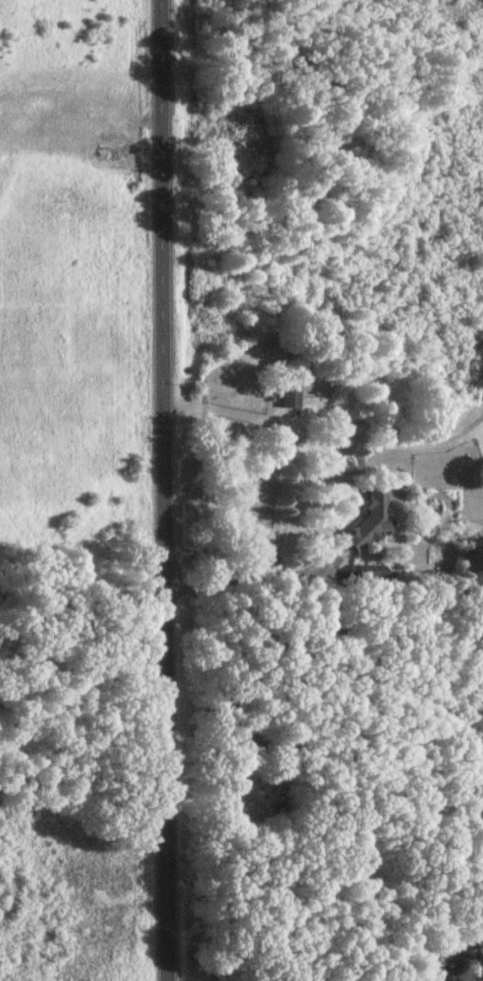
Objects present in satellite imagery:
building: (283, 397)
road: (168, 490)
building: (361, 519)

